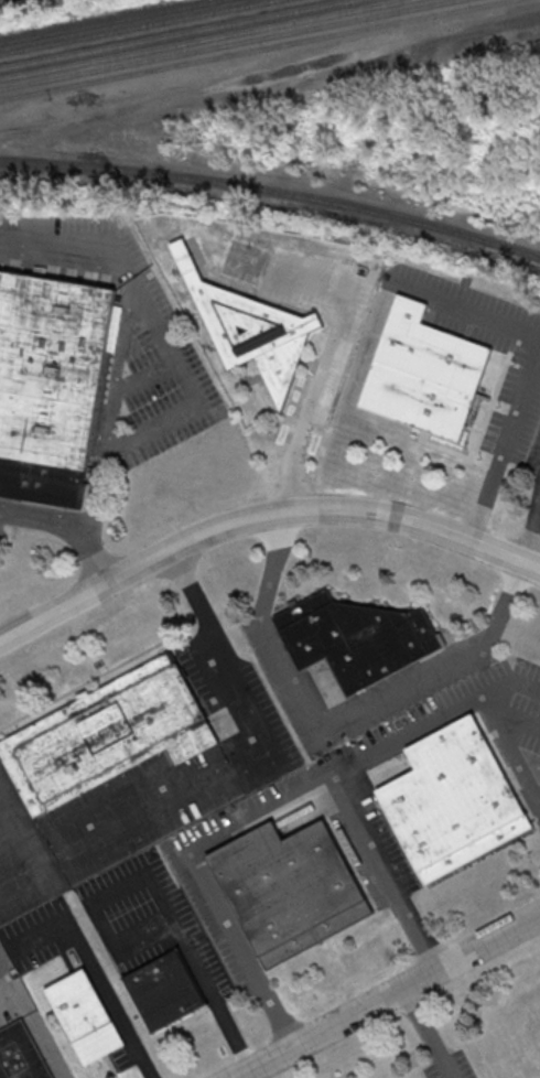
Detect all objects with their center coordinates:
railway: (109, 21)
railway: (140, 26)
railway: (179, 34)
railway: (205, 40)
railway: (230, 44)
railway: (258, 50)
road: (270, 73)
railway: (272, 192)
road: (466, 308)
building: (256, 333)
road: (325, 364)
road: (177, 367)
building: (425, 374)
building: (52, 385)
road: (506, 443)
road: (260, 516)
road: (44, 522)
road: (531, 532)
road: (100, 559)
road: (197, 597)
building: (359, 639)
road: (336, 723)
building: (109, 734)
road: (511, 750)
road: (192, 770)
road: (1, 775)
parking lot: (145, 791)
building: (452, 799)
road: (539, 801)
road: (269, 813)
road: (25, 821)
road: (388, 873)
road: (25, 885)
building: (291, 890)
road: (162, 896)
parking lot: (153, 915)
parking lot: (35, 934)
road: (99, 979)
building: (168, 991)
road: (388, 995)
building: (87, 1018)
road: (37, 1027)
road: (429, 1032)
building: (21, 1054)

